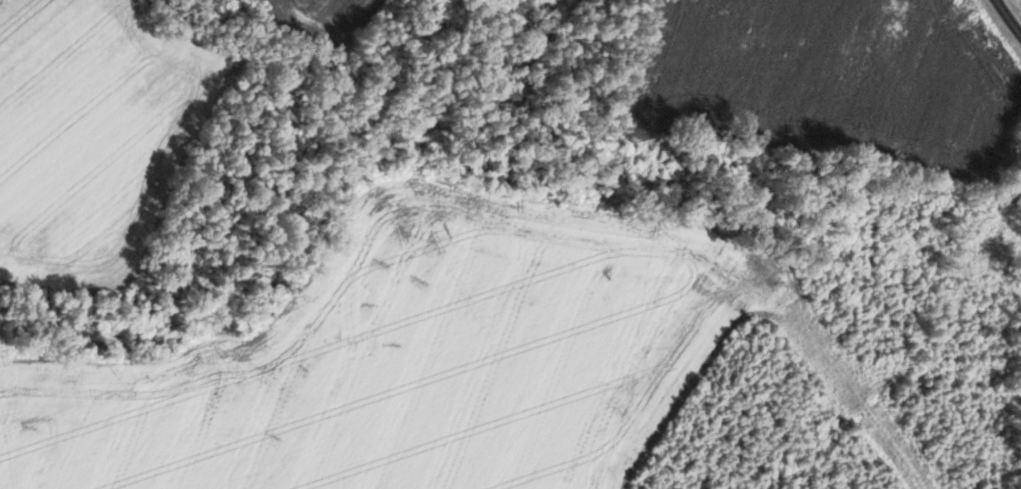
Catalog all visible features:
road: (1008, 17)

